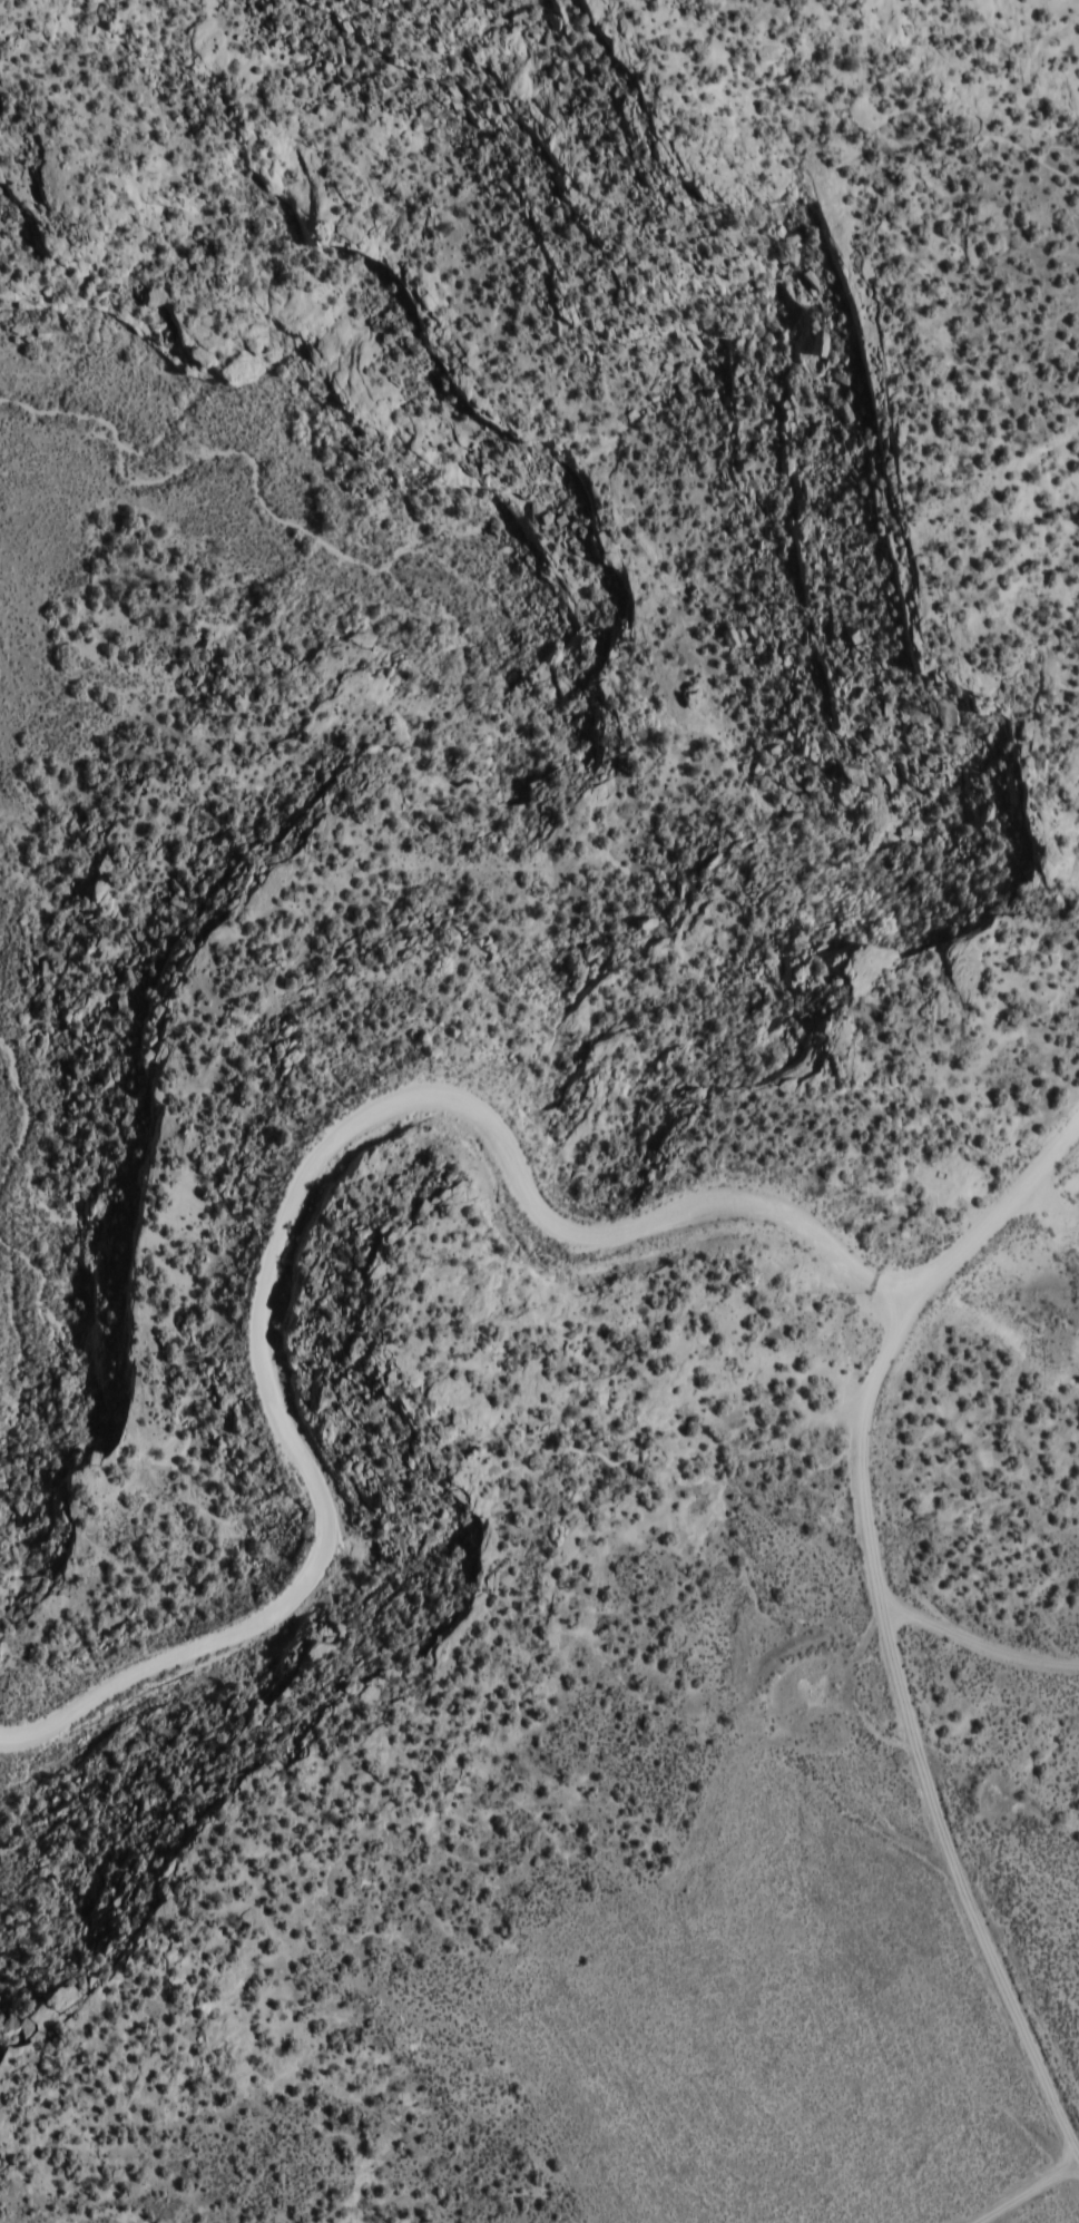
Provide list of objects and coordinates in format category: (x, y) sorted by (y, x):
road: (385, 1140)
road: (984, 1666)
road: (919, 1778)
building: (53, 2004)
road: (1052, 2214)

